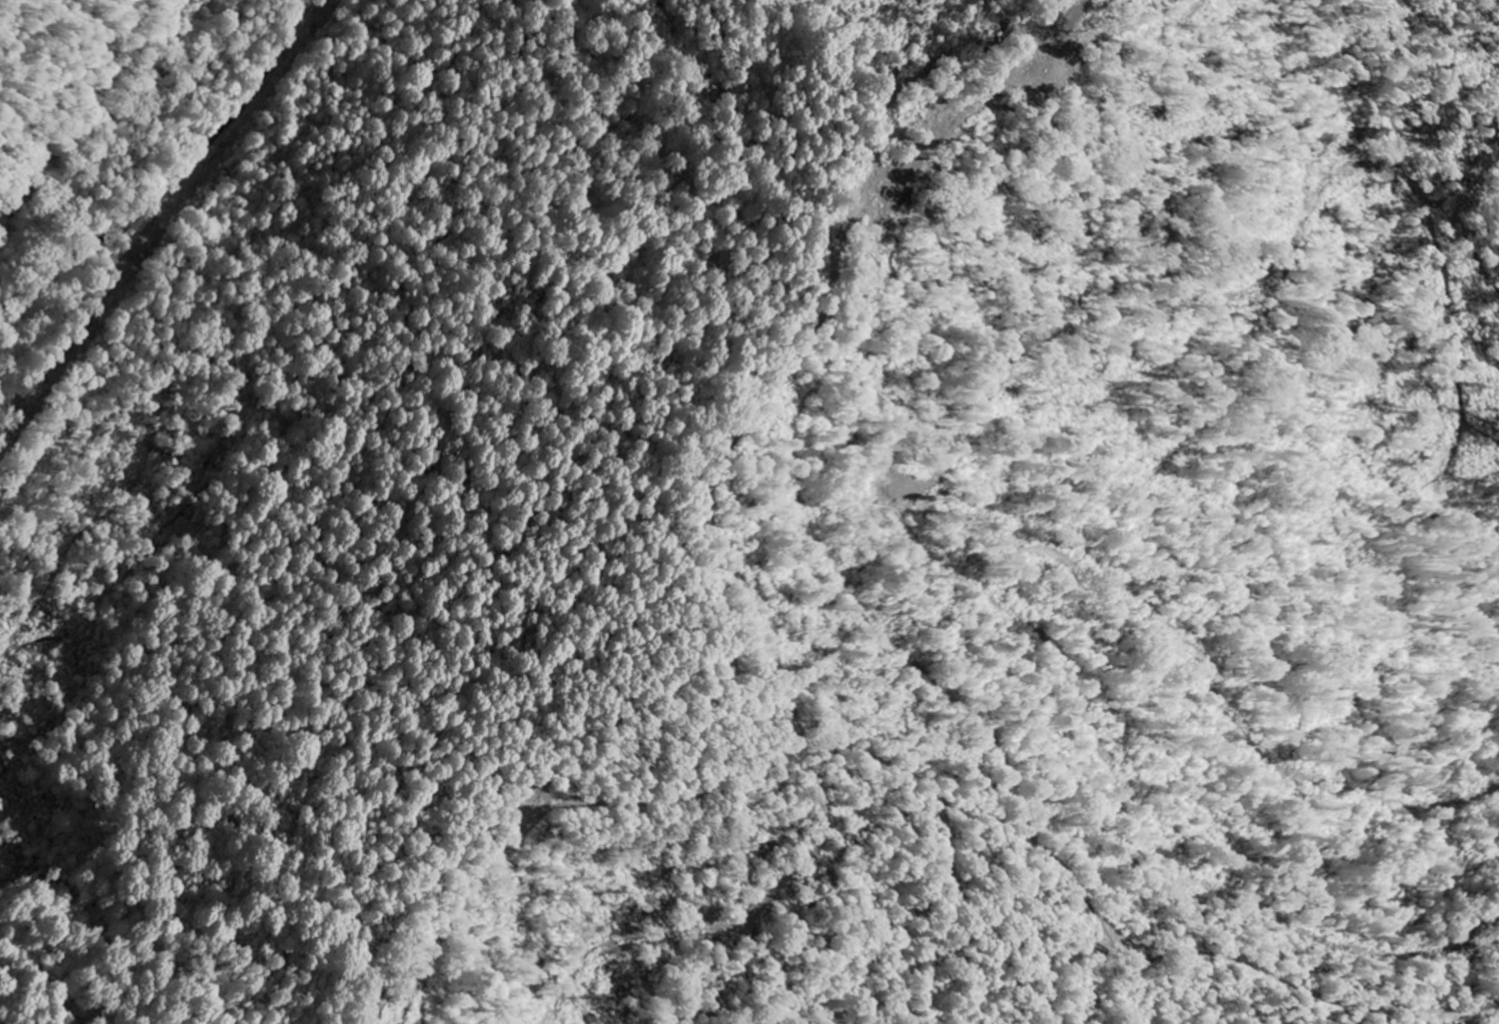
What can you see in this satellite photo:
road: (170, 179)

